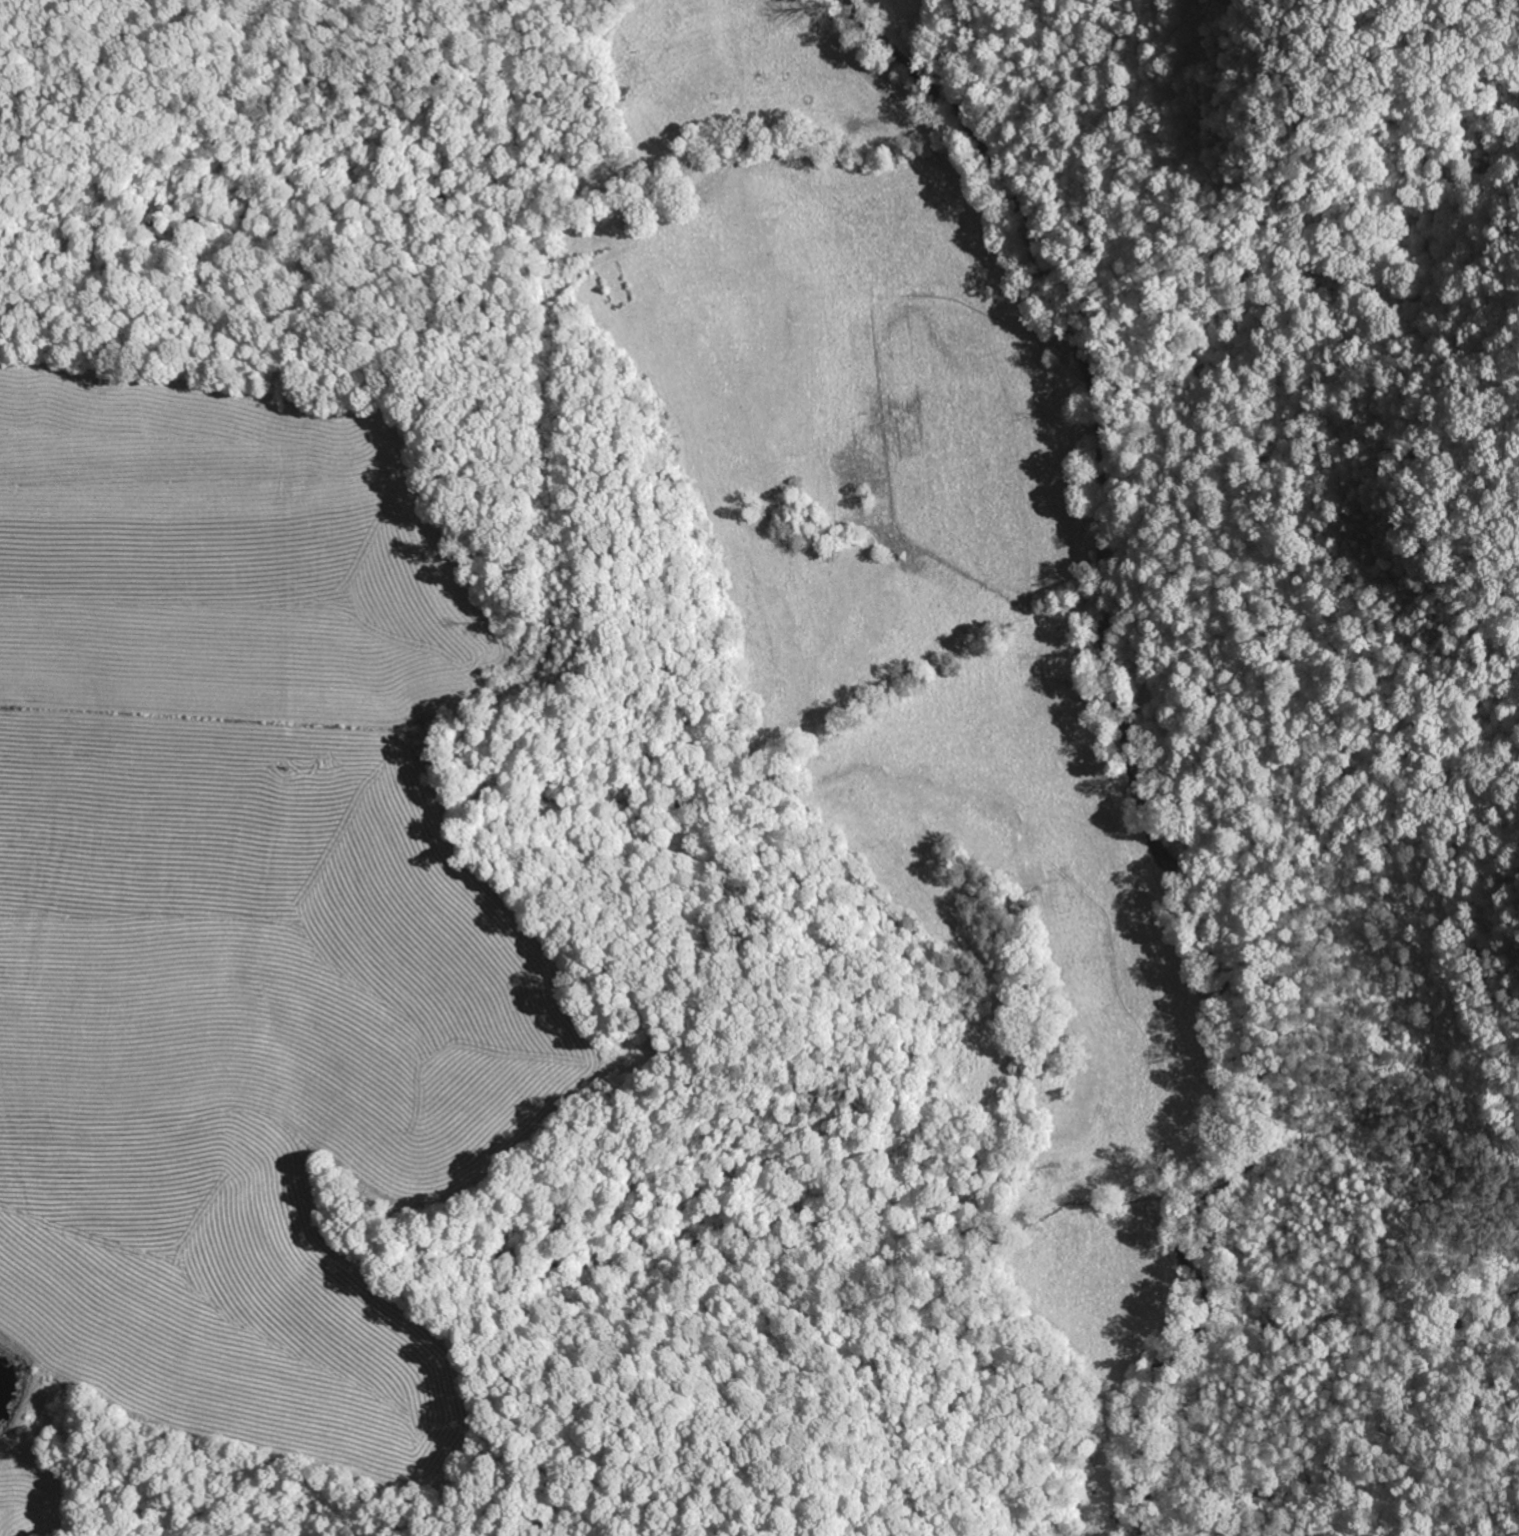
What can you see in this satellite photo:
road: (98, 752)

